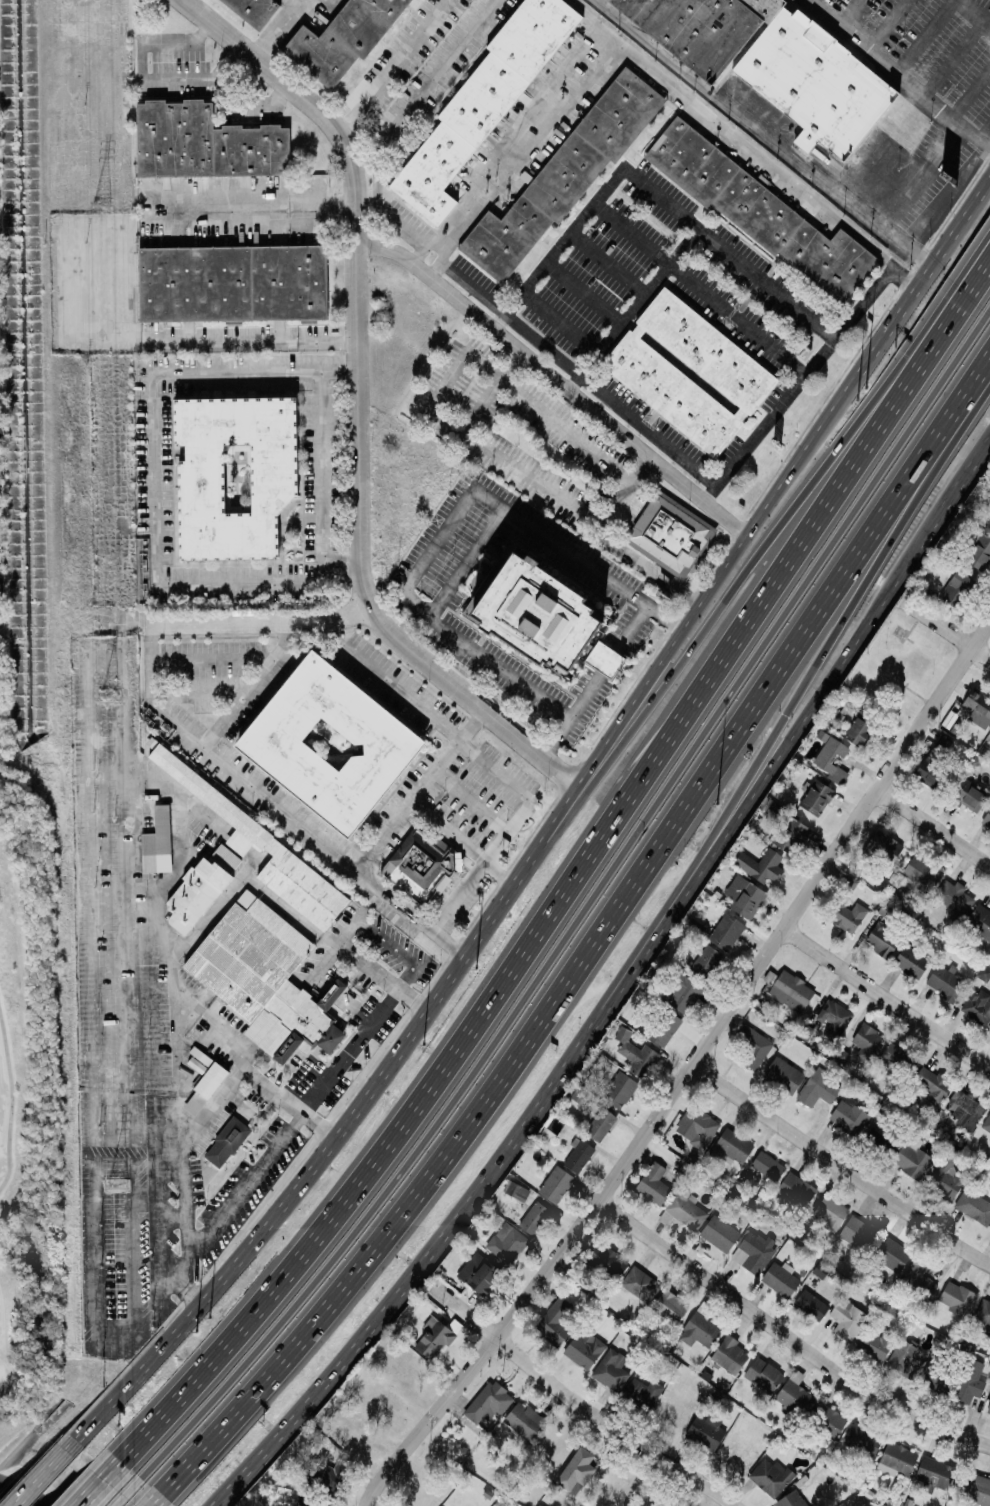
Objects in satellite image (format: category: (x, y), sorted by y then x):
building: (249, 11)
road: (851, 12)
road: (973, 13)
road: (891, 23)
road: (278, 29)
road: (924, 34)
building: (342, 37)
road: (953, 57)
building: (768, 58)
road: (392, 64)
road: (902, 72)
road: (144, 78)
road: (424, 85)
road: (970, 92)
building: (482, 98)
road: (246, 101)
road: (983, 131)
road: (766, 134)
building: (205, 143)
road: (743, 143)
road: (516, 153)
building: (561, 174)
road: (921, 176)
road: (335, 188)
road: (649, 189)
power tower: (99, 204)
building: (761, 212)
road: (317, 231)
road: (449, 262)
road: (607, 265)
road: (926, 279)
building: (229, 281)
road: (698, 291)
road: (582, 294)
road: (560, 326)
road: (619, 329)
road: (254, 340)
building: (728, 369)
road: (153, 375)
road: (556, 380)
road: (799, 382)
road: (490, 391)
road: (361, 403)
road: (451, 425)
road: (649, 432)
road: (942, 448)
road: (966, 472)
building: (227, 474)
road: (626, 492)
road: (451, 522)
building: (988, 526)
building: (668, 533)
road: (762, 546)
road: (325, 554)
building: (980, 554)
road: (347, 559)
road: (465, 564)
building: (957, 588)
road: (692, 613)
building: (531, 615)
road: (248, 618)
road: (112, 623)
road: (860, 627)
road: (947, 630)
road: (836, 632)
road: (192, 660)
building: (605, 660)
road: (260, 677)
road: (390, 682)
road: (595, 682)
power tower: (109, 695)
building: (978, 708)
building: (860, 728)
building: (324, 743)
building: (831, 757)
building: (934, 761)
road: (425, 791)
building: (969, 796)
building: (817, 797)
building: (986, 819)
road: (934, 826)
road: (181, 834)
road: (452, 834)
building: (791, 834)
building: (251, 836)
building: (158, 842)
building: (884, 846)
building: (761, 865)
building: (422, 866)
building: (922, 871)
road: (502, 872)
road: (569, 876)
road: (383, 887)
building: (745, 896)
building: (954, 898)
road: (580, 915)
building: (850, 917)
building: (980, 921)
building: (726, 931)
building: (882, 939)
road: (336, 942)
road: (397, 950)
building: (912, 961)
building: (706, 962)
building: (984, 973)
road: (380, 976)
building: (265, 978)
building: (945, 982)
building: (791, 991)
building: (683, 993)
road: (888, 997)
building: (978, 1006)
building: (833, 1017)
road: (541, 1024)
building: (663, 1027)
building: (989, 1030)
building: (868, 1042)
road: (358, 1044)
building: (753, 1046)
building: (636, 1054)
building: (894, 1055)
road: (238, 1064)
road: (691, 1072)
building: (784, 1075)
building: (211, 1079)
building: (933, 1085)
building: (818, 1087)
building: (620, 1090)
road: (132, 1098)
building: (966, 1111)
park: (24, 1112)
road: (184, 1114)
building: (849, 1116)
building: (986, 1123)
building: (555, 1124)
building: (600, 1124)
building: (697, 1126)
road: (515, 1140)
building: (226, 1142)
building: (733, 1146)
building: (579, 1155)
building: (913, 1158)
road: (317, 1160)
building: (768, 1166)
road: (842, 1167)
building: (947, 1176)
building: (556, 1183)
building: (654, 1184)
power tower: (117, 1188)
building: (796, 1189)
building: (516, 1190)
building: (974, 1206)
building: (686, 1210)
building: (830, 1212)
building: (534, 1217)
building: (720, 1233)
building: (859, 1233)
building: (507, 1243)
building: (752, 1251)
building: (891, 1254)
building: (606, 1261)
building: (479, 1274)
building: (780, 1279)
building: (918, 1280)
building: (639, 1284)
building: (957, 1298)
building: (811, 1305)
building: (670, 1306)
building: (983, 1312)
building: (848, 1319)
building: (555, 1321)
building: (700, 1330)
building: (989, 1335)
road: (787, 1336)
building: (434, 1339)
building: (875, 1343)
building: (584, 1351)
building: (730, 1354)
building: (905, 1359)
building: (611, 1370)
building: (763, 1375)
building: (932, 1378)
building: (970, 1382)
building: (644, 1391)
building: (795, 1394)
building: (488, 1403)
road: (576, 1405)
building: (988, 1409)
building: (524, 1420)
building: (830, 1421)
building: (706, 1431)
building: (863, 1439)
building: (738, 1453)
building: (897, 1460)
road: (40, 1471)
building: (577, 1471)
building: (935, 1472)
building: (771, 1477)
road: (98, 1489)
building: (978, 1490)
river: (19, 1492)
road: (127, 1497)
building: (791, 1499)

